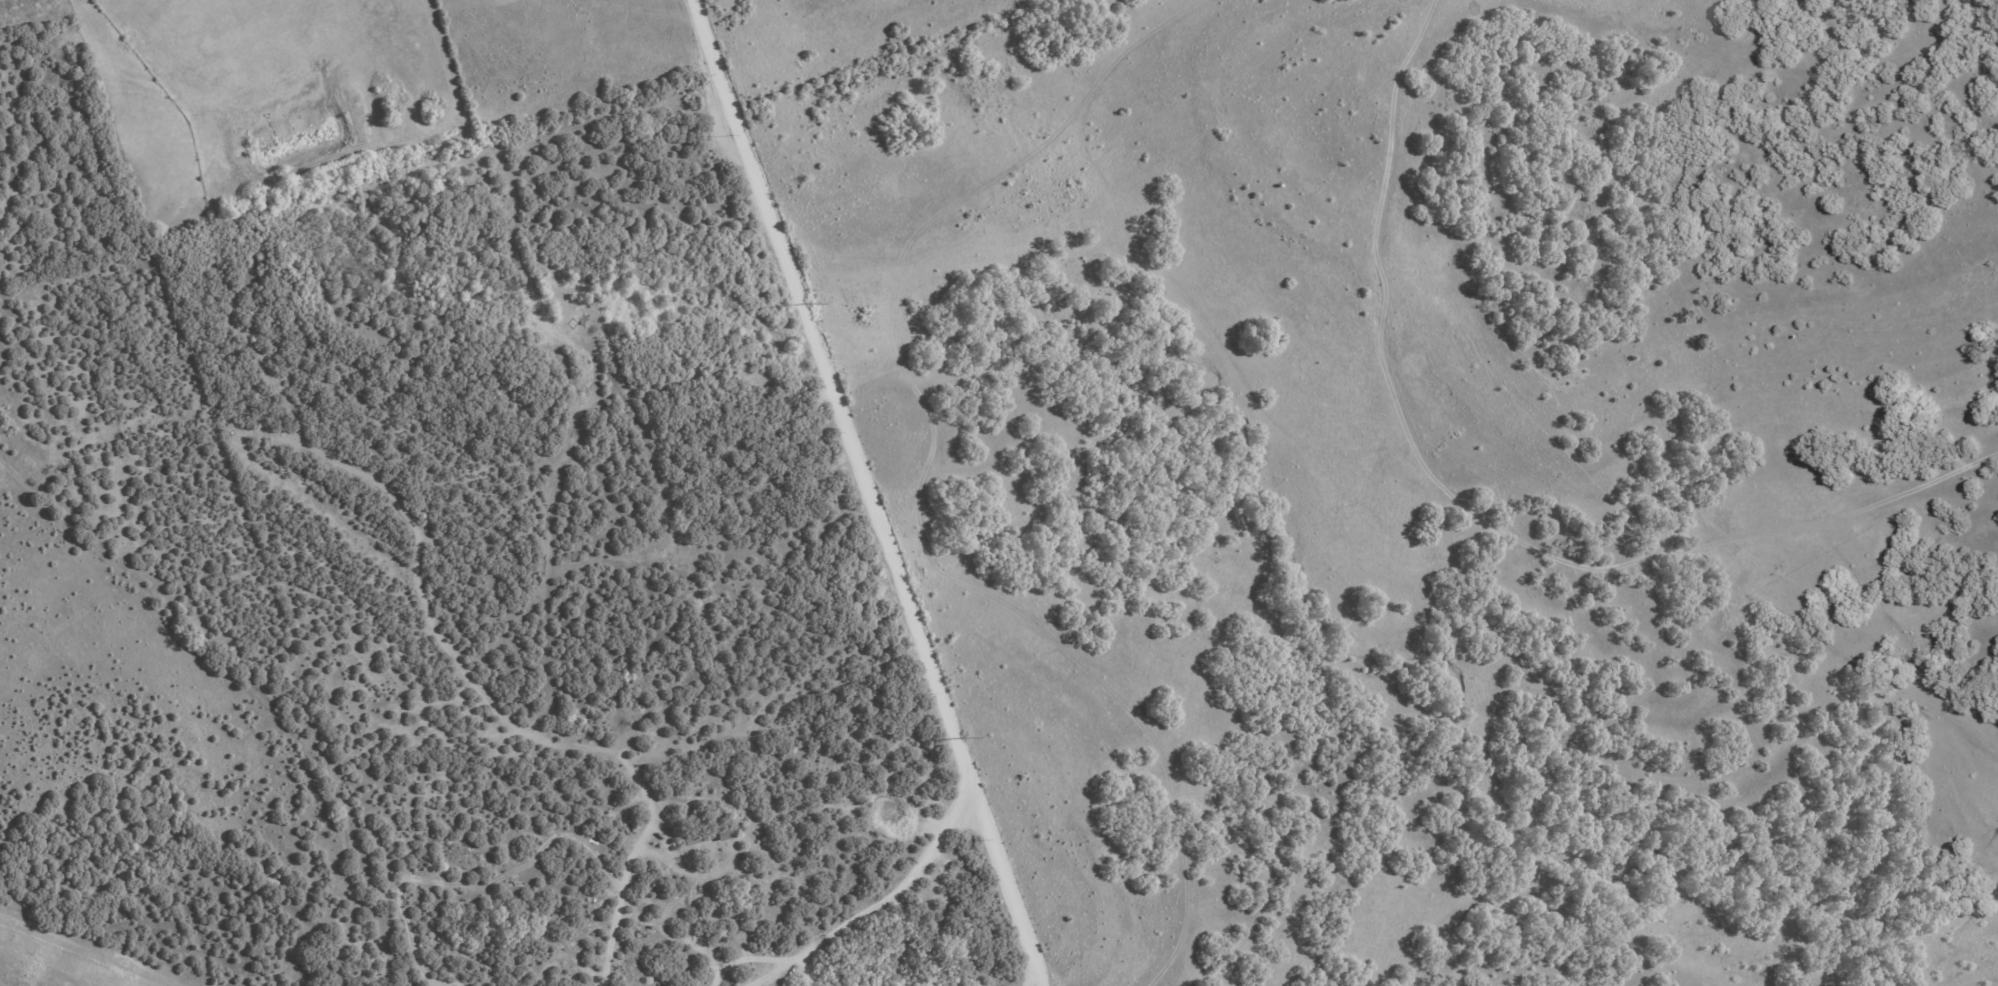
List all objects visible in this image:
power tower: (807, 304)
road: (823, 376)
power tower: (962, 736)
road: (999, 868)
road: (903, 886)
road: (1036, 978)

